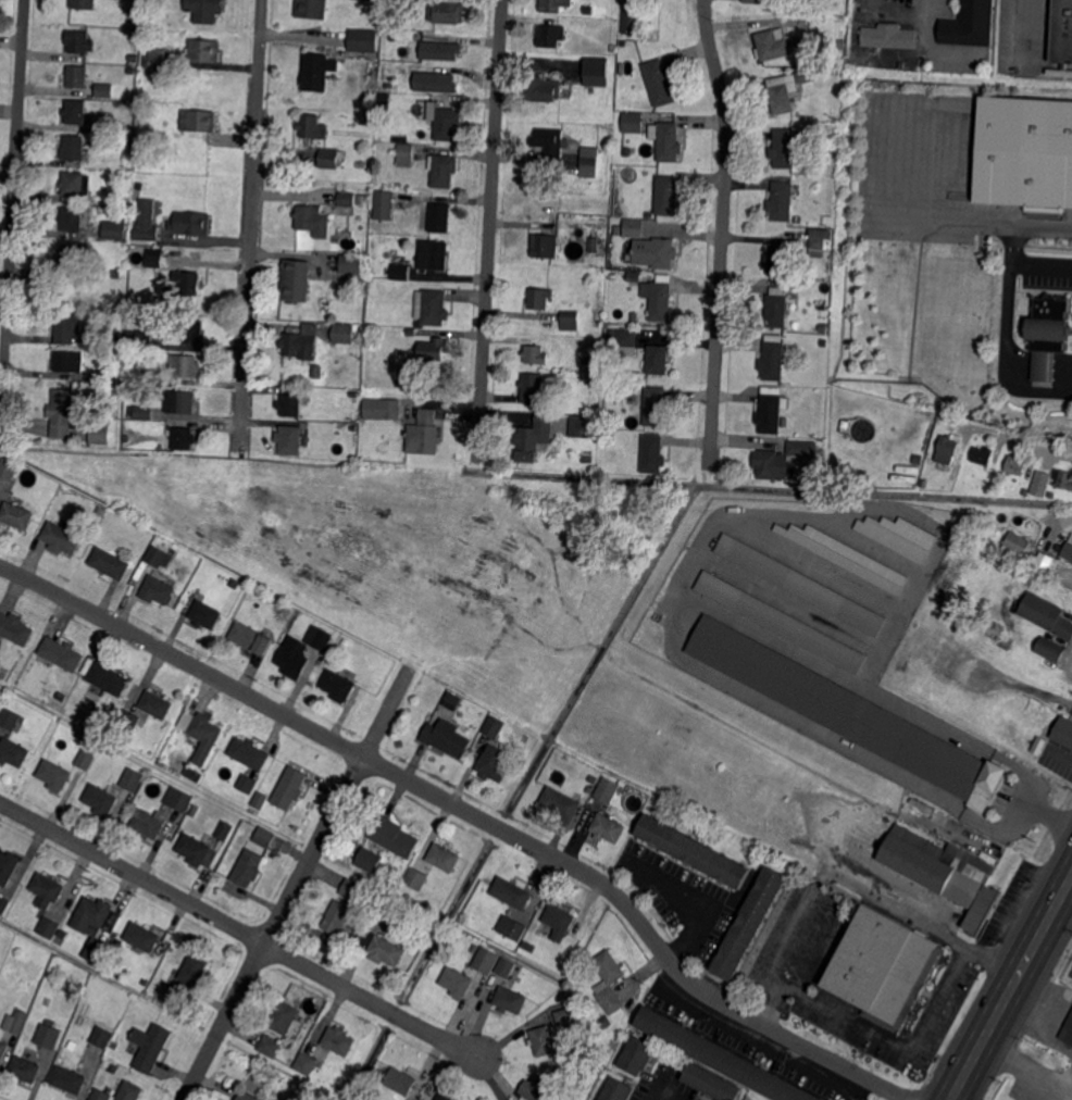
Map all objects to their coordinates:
building: (413, 0)
building: (752, 0)
building: (775, 0)
building: (175, 1)
building: (84, 4)
building: (554, 5)
building: (312, 9)
building: (837, 9)
building: (205, 10)
building: (587, 10)
building: (445, 13)
building: (632, 18)
road: (924, 20)
building: (150, 21)
building: (970, 25)
building: (1062, 32)
building: (551, 35)
building: (888, 37)
building: (360, 40)
building: (80, 42)
building: (773, 45)
building: (840, 45)
building: (203, 50)
building: (438, 50)
building: (133, 59)
building: (155, 61)
building: (130, 71)
building: (317, 71)
building: (597, 72)
building: (77, 77)
building: (803, 77)
building: (433, 80)
building: (659, 83)
building: (544, 88)
building: (104, 90)
road: (871, 92)
building: (778, 99)
building: (75, 112)
building: (199, 121)
building: (384, 121)
building: (631, 121)
building: (447, 123)
building: (313, 127)
building: (145, 128)
building: (127, 129)
building: (550, 141)
building: (669, 142)
building: (73, 148)
building: (783, 148)
building: (625, 151)
building: (1024, 151)
building: (407, 155)
building: (331, 158)
building: (589, 162)
building: (444, 171)
building: (76, 188)
building: (666, 196)
building: (361, 200)
building: (782, 201)
building: (123, 202)
building: (346, 204)
building: (383, 205)
building: (440, 217)
road: (13, 218)
building: (72, 218)
building: (798, 220)
road: (988, 220)
building: (147, 221)
building: (314, 221)
building: (190, 223)
road: (252, 226)
road: (489, 227)
building: (633, 228)
building: (593, 229)
building: (115, 230)
building: (615, 230)
road: (722, 230)
building: (594, 245)
building: (820, 245)
building: (545, 246)
building: (662, 253)
building: (434, 254)
building: (70, 257)
building: (155, 258)
building: (778, 260)
building: (351, 263)
road: (1040, 263)
building: (400, 272)
building: (117, 273)
building: (611, 276)
building: (633, 277)
building: (295, 280)
parking lot: (1046, 280)
building: (189, 285)
building: (538, 298)
building: (659, 300)
building: (794, 305)
building: (776, 308)
building: (434, 309)
building: (634, 316)
building: (570, 321)
building: (1048, 323)
building: (67, 325)
building: (419, 325)
building: (158, 328)
building: (182, 332)
building: (410, 333)
building: (344, 334)
road: (1006, 334)
building: (611, 335)
building: (129, 337)
building: (142, 339)
building: (109, 340)
building: (625, 342)
building: (302, 343)
building: (823, 343)
building: (155, 346)
building: (434, 349)
road: (1019, 353)
building: (536, 354)
building: (141, 355)
road: (1062, 355)
building: (657, 359)
building: (70, 360)
building: (773, 360)
road: (1018, 361)
building: (1040, 364)
road: (1062, 364)
building: (183, 365)
building: (317, 371)
road: (1018, 371)
road: (1061, 373)
building: (114, 378)
building: (140, 379)
road: (1042, 382)
building: (532, 387)
building: (353, 395)
building: (180, 401)
building: (290, 404)
building: (589, 405)
building: (655, 405)
building: (381, 410)
building: (139, 413)
building: (770, 413)
building: (65, 414)
building: (783, 423)
building: (583, 425)
building: (352, 429)
building: (99, 432)
building: (424, 433)
road: (1007, 436)
building: (533, 438)
building: (183, 439)
building: (290, 439)
building: (800, 448)
building: (946, 450)
building: (652, 453)
building: (553, 454)
building: (983, 454)
building: (587, 458)
building: (918, 461)
building: (1015, 464)
building: (770, 465)
building: (9, 468)
building: (1063, 478)
building: (1040, 483)
building: (100, 510)
building: (16, 515)
building: (976, 530)
building: (897, 535)
building: (62, 538)
building: (1015, 545)
building: (1068, 550)
building: (846, 555)
building: (155, 558)
building: (1044, 561)
building: (110, 563)
building: (234, 584)
building: (801, 585)
building: (159, 589)
building: (205, 614)
building: (1046, 614)
building: (781, 623)
building: (15, 628)
building: (252, 638)
building: (320, 638)
building: (347, 642)
building: (1050, 649)
building: (62, 653)
building: (294, 658)
building: (109, 678)
building: (338, 685)
building: (451, 701)
building: (157, 704)
building: (55, 705)
building: (849, 713)
building: (10, 720)
building: (128, 722)
building: (495, 726)
building: (1064, 729)
building: (202, 735)
building: (447, 737)
building: (525, 738)
building: (13, 752)
building: (249, 753)
building: (86, 759)
building: (495, 763)
building: (135, 766)
building: (54, 775)
building: (192, 775)
building: (132, 780)
building: (247, 783)
building: (290, 787)
building: (588, 790)
building: (607, 790)
building: (179, 799)
building: (100, 801)
building: (260, 801)
building: (561, 802)
building: (923, 807)
road: (472, 812)
building: (148, 826)
building: (609, 828)
building: (225, 829)
building: (395, 836)
building: (264, 838)
building: (198, 851)
building: (694, 851)
building: (444, 857)
building: (370, 860)
building: (7, 867)
building: (249, 867)
road: (838, 867)
building: (942, 873)
building: (415, 879)
road: (298, 883)
building: (350, 889)
building: (46, 891)
building: (512, 892)
road: (696, 902)
building: (4, 904)
building: (438, 904)
building: (379, 910)
building: (95, 916)
building: (337, 916)
building: (559, 921)
building: (749, 923)
building: (47, 928)
building: (511, 928)
road: (240, 930)
building: (60, 934)
building: (141, 938)
building: (454, 941)
road: (783, 941)
building: (526, 946)
building: (381, 948)
building: (474, 948)
building: (95, 953)
building: (485, 961)
building: (504, 967)
building: (882, 968)
building: (195, 971)
road: (1019, 976)
building: (609, 980)
building: (145, 982)
building: (458, 983)
building: (511, 1000)
building: (564, 1014)
building: (283, 1017)
building: (16, 1021)
building: (604, 1023)
building: (307, 1028)
road: (1035, 1033)
building: (1068, 1033)
building: (47, 1036)
building: (102, 1037)
building: (339, 1040)
building: (544, 1041)
building: (114, 1046)
building: (271, 1046)
road: (895, 1046)
building: (150, 1047)
building: (3, 1050)
building: (638, 1055)
building: (719, 1058)
building: (107, 1063)
building: (307, 1063)
road: (1026, 1064)
building: (25, 1068)
building: (112, 1068)
building: (68, 1079)
building: (401, 1080)
building: (711, 1083)
road: (959, 1087)
building: (534, 1089)
building: (616, 1090)
building: (130, 1091)
building: (100, 1095)
building: (248, 1096)
building: (373, 1097)
building: (441, 1098)

